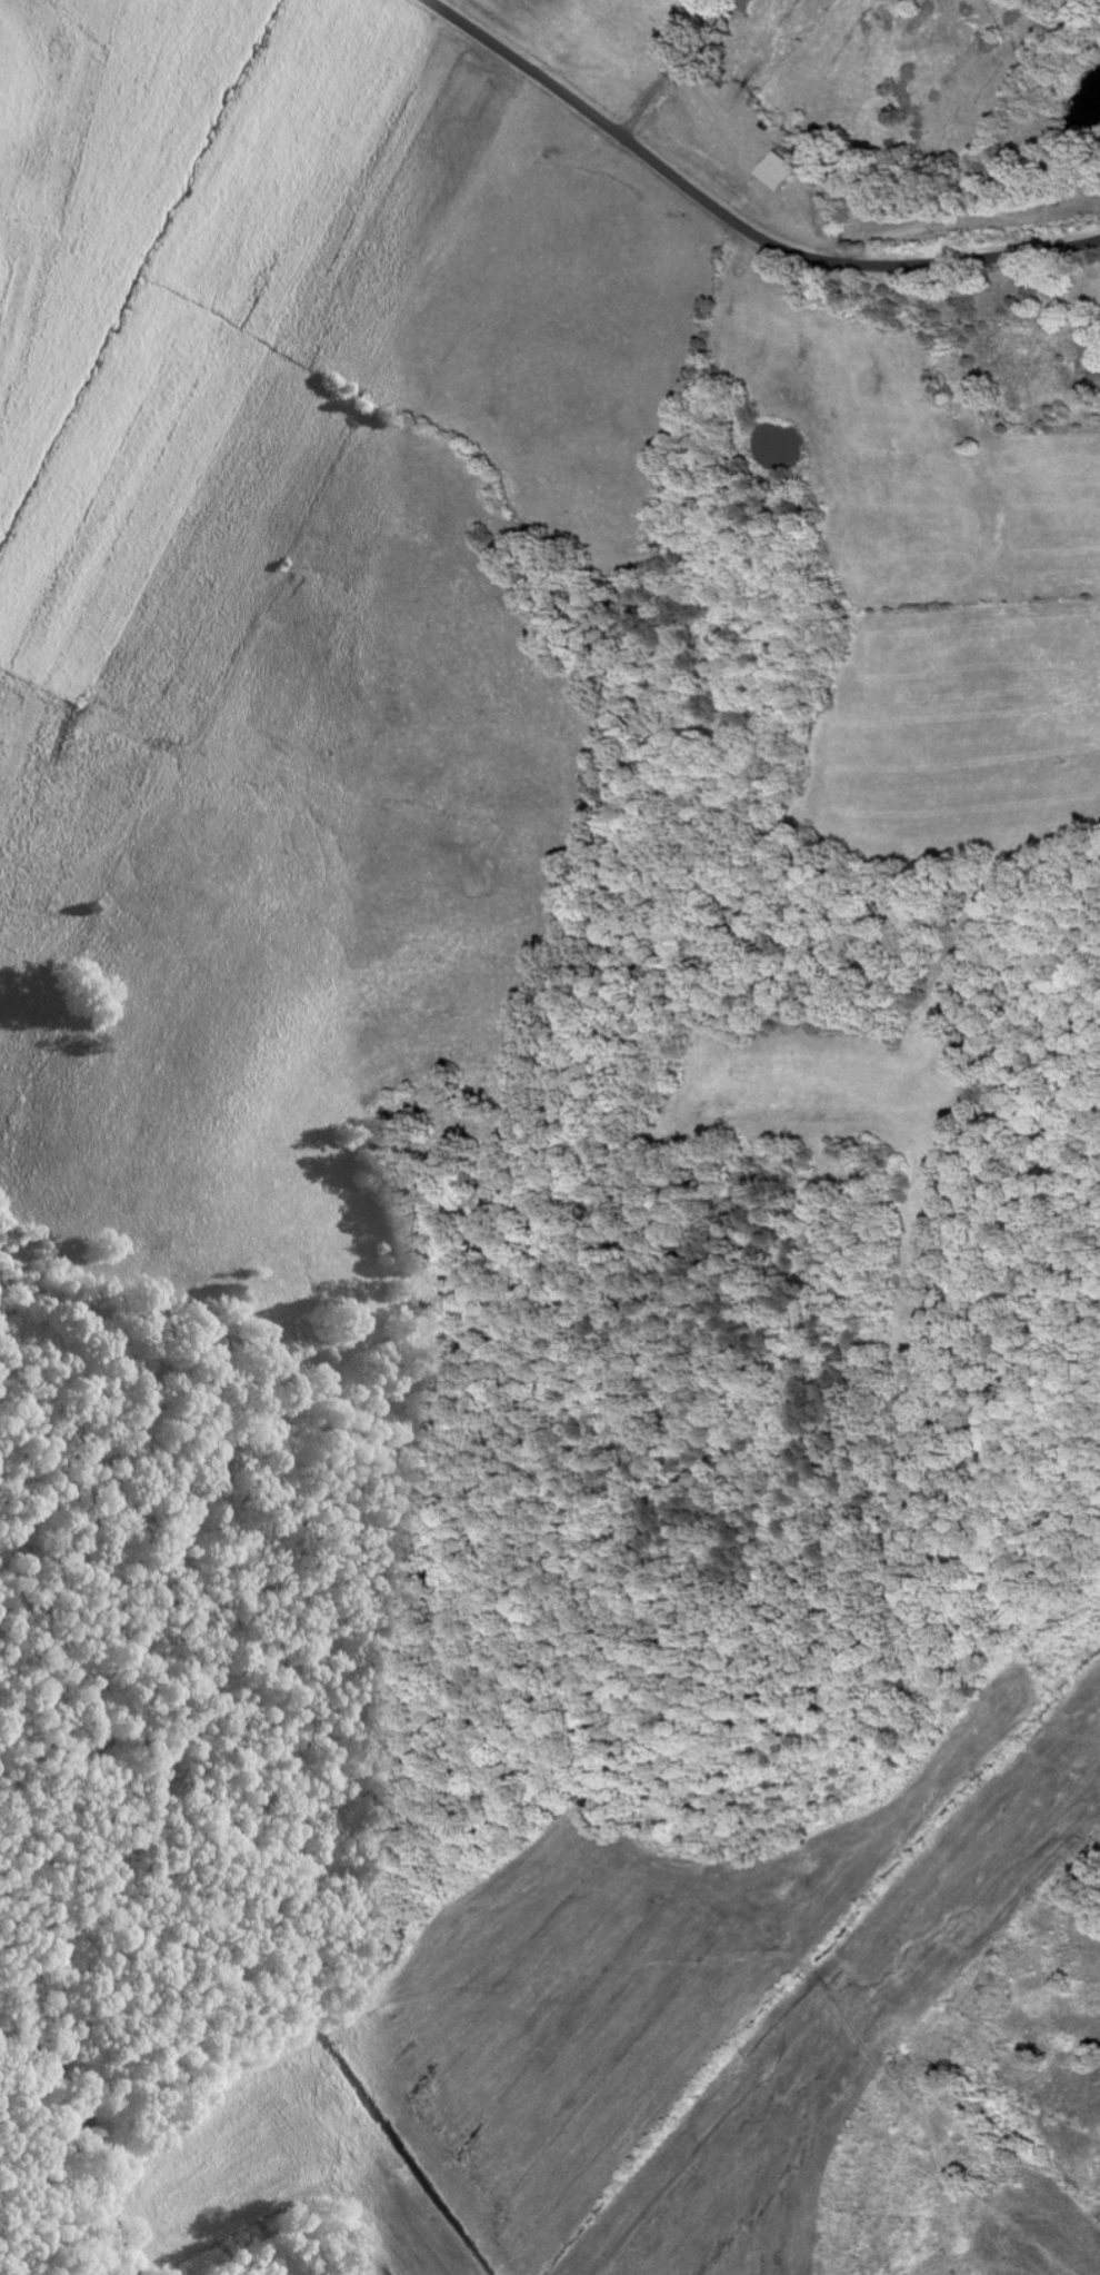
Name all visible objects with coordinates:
building: (740, 6)
road: (659, 79)
building: (776, 169)
road: (734, 219)
road: (588, 776)

